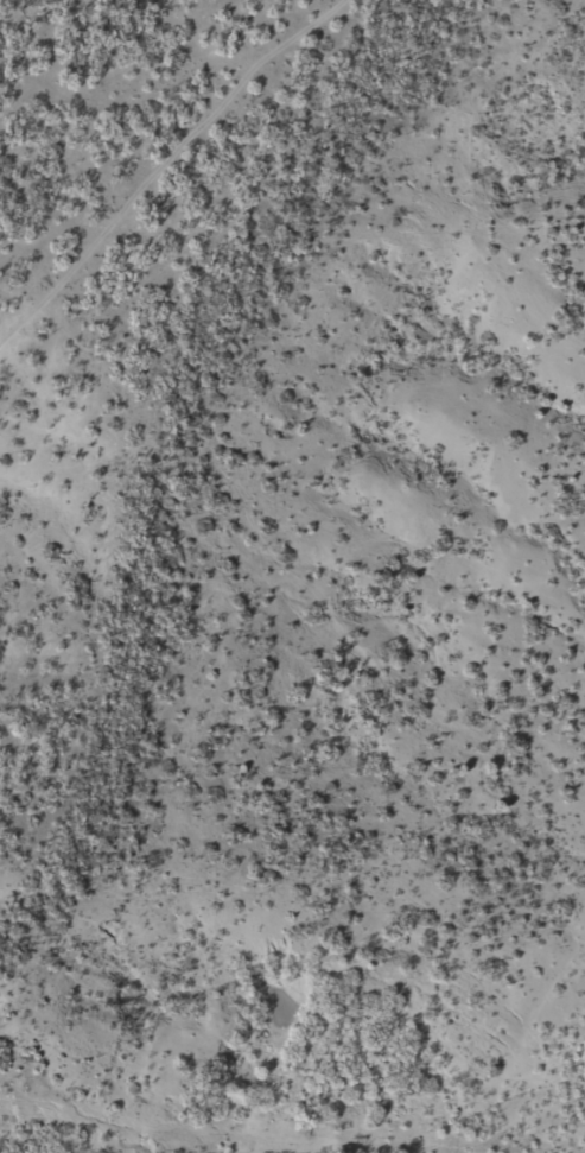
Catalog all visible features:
road: (195, 189)

